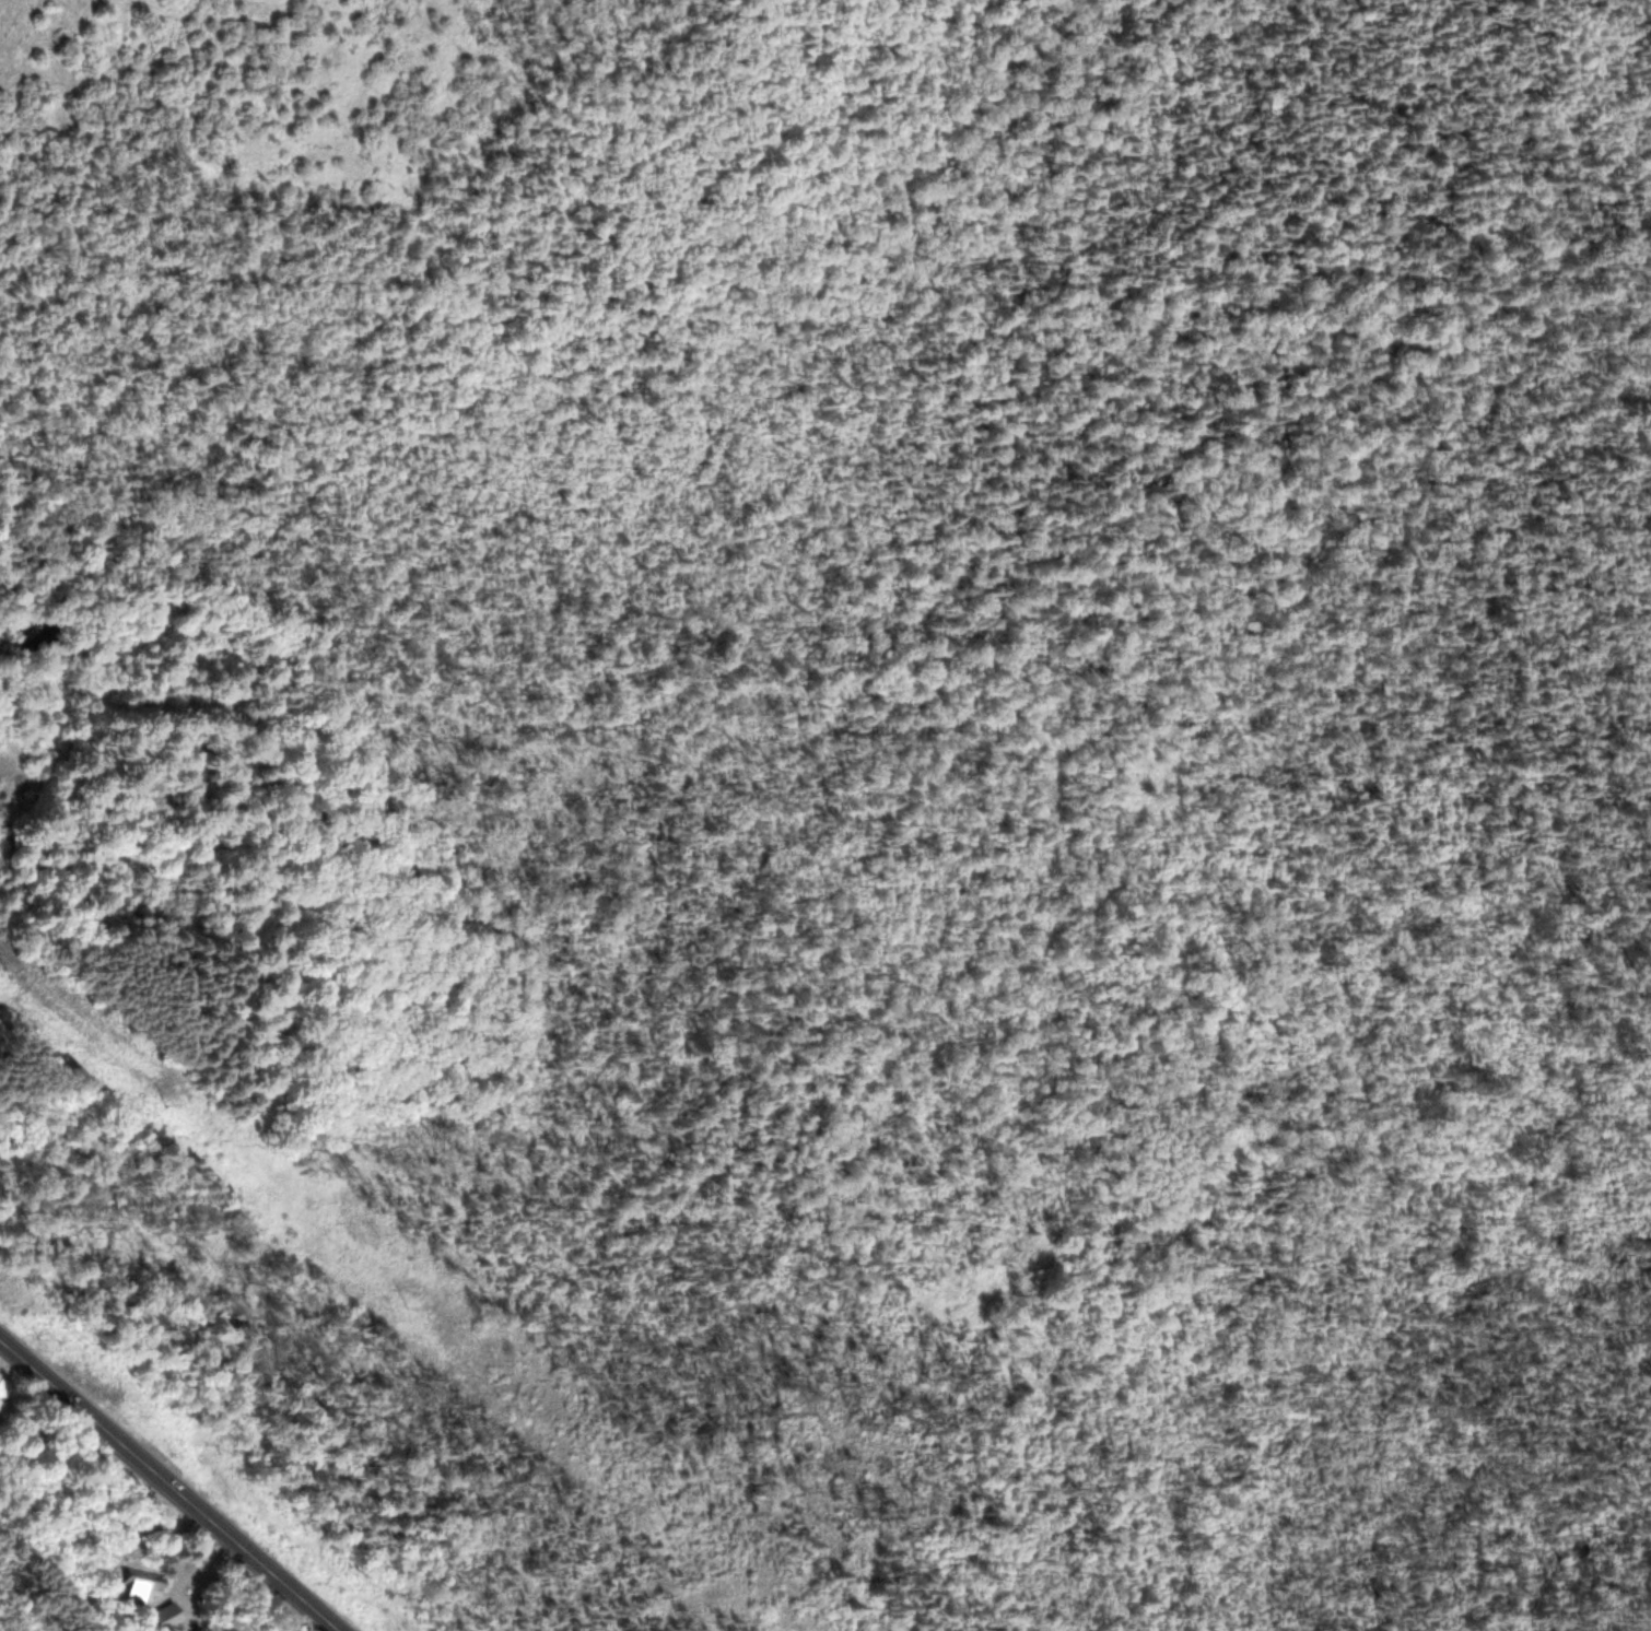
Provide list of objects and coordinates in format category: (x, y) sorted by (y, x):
building: (4, 1389)
road: (167, 1487)
building: (144, 1583)

